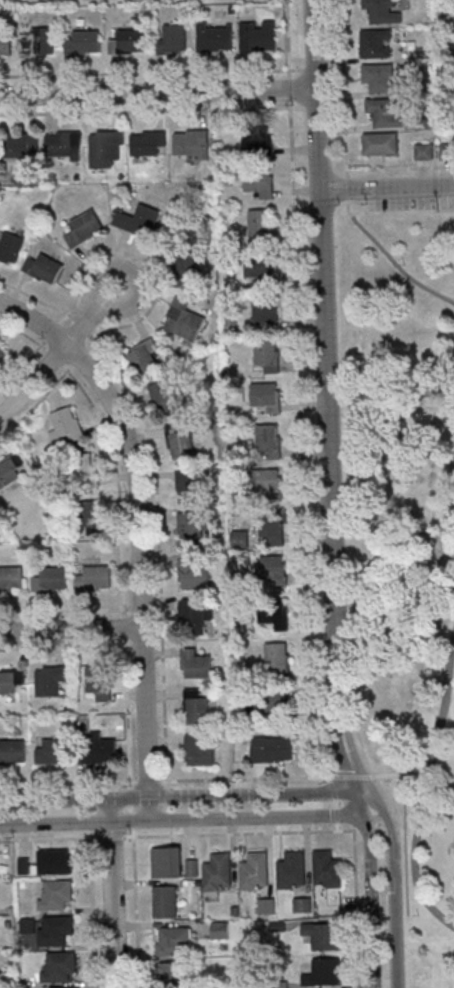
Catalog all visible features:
building: (382, 11)
building: (258, 37)
building: (215, 39)
building: (172, 40)
building: (127, 41)
building: (84, 42)
building: (38, 43)
building: (376, 43)
building: (5, 45)
building: (381, 78)
road: (158, 91)
building: (386, 111)
building: (257, 141)
building: (148, 142)
building: (381, 143)
building: (191, 144)
building: (63, 146)
building: (20, 147)
building: (106, 147)
building: (424, 153)
road: (346, 156)
road: (400, 167)
building: (257, 183)
road: (386, 185)
road: (348, 188)
parking lot: (410, 197)
road: (401, 211)
building: (137, 220)
building: (260, 223)
building: (85, 225)
building: (11, 248)
road: (391, 259)
building: (183, 263)
building: (43, 268)
building: (260, 268)
building: (266, 311)
road: (92, 315)
building: (184, 319)
building: (267, 354)
building: (3, 356)
building: (143, 357)
road: (32, 378)
road: (300, 388)
building: (267, 396)
building: (164, 398)
road: (326, 402)
building: (66, 427)
building: (268, 438)
building: (183, 445)
building: (86, 470)
building: (10, 472)
park: (405, 478)
building: (269, 486)
building: (188, 488)
building: (90, 514)
building: (191, 530)
road: (138, 531)
building: (272, 532)
building: (276, 570)
building: (94, 576)
building: (193, 576)
building: (9, 577)
building: (50, 578)
building: (194, 616)
building: (276, 617)
road: (71, 628)
building: (277, 659)
building: (195, 663)
building: (50, 679)
building: (7, 681)
building: (99, 681)
building: (275, 700)
building: (196, 707)
building: (100, 749)
building: (272, 749)
building: (198, 750)
building: (12, 751)
building: (52, 751)
road: (421, 762)
road: (378, 776)
road: (190, 779)
road: (182, 795)
road: (425, 797)
road: (183, 815)
building: (56, 861)
building: (167, 862)
building: (191, 867)
building: (292, 870)
building: (327, 870)
building: (255, 871)
building: (218, 872)
road: (393, 887)
park: (430, 891)
road: (113, 892)
building: (55, 894)
road: (369, 894)
building: (165, 901)
road: (382, 904)
building: (302, 905)
building: (28, 925)
building: (55, 930)
building: (322, 935)
building: (173, 940)
building: (59, 967)
building: (173, 975)
building: (331, 976)
building: (64, 987)

